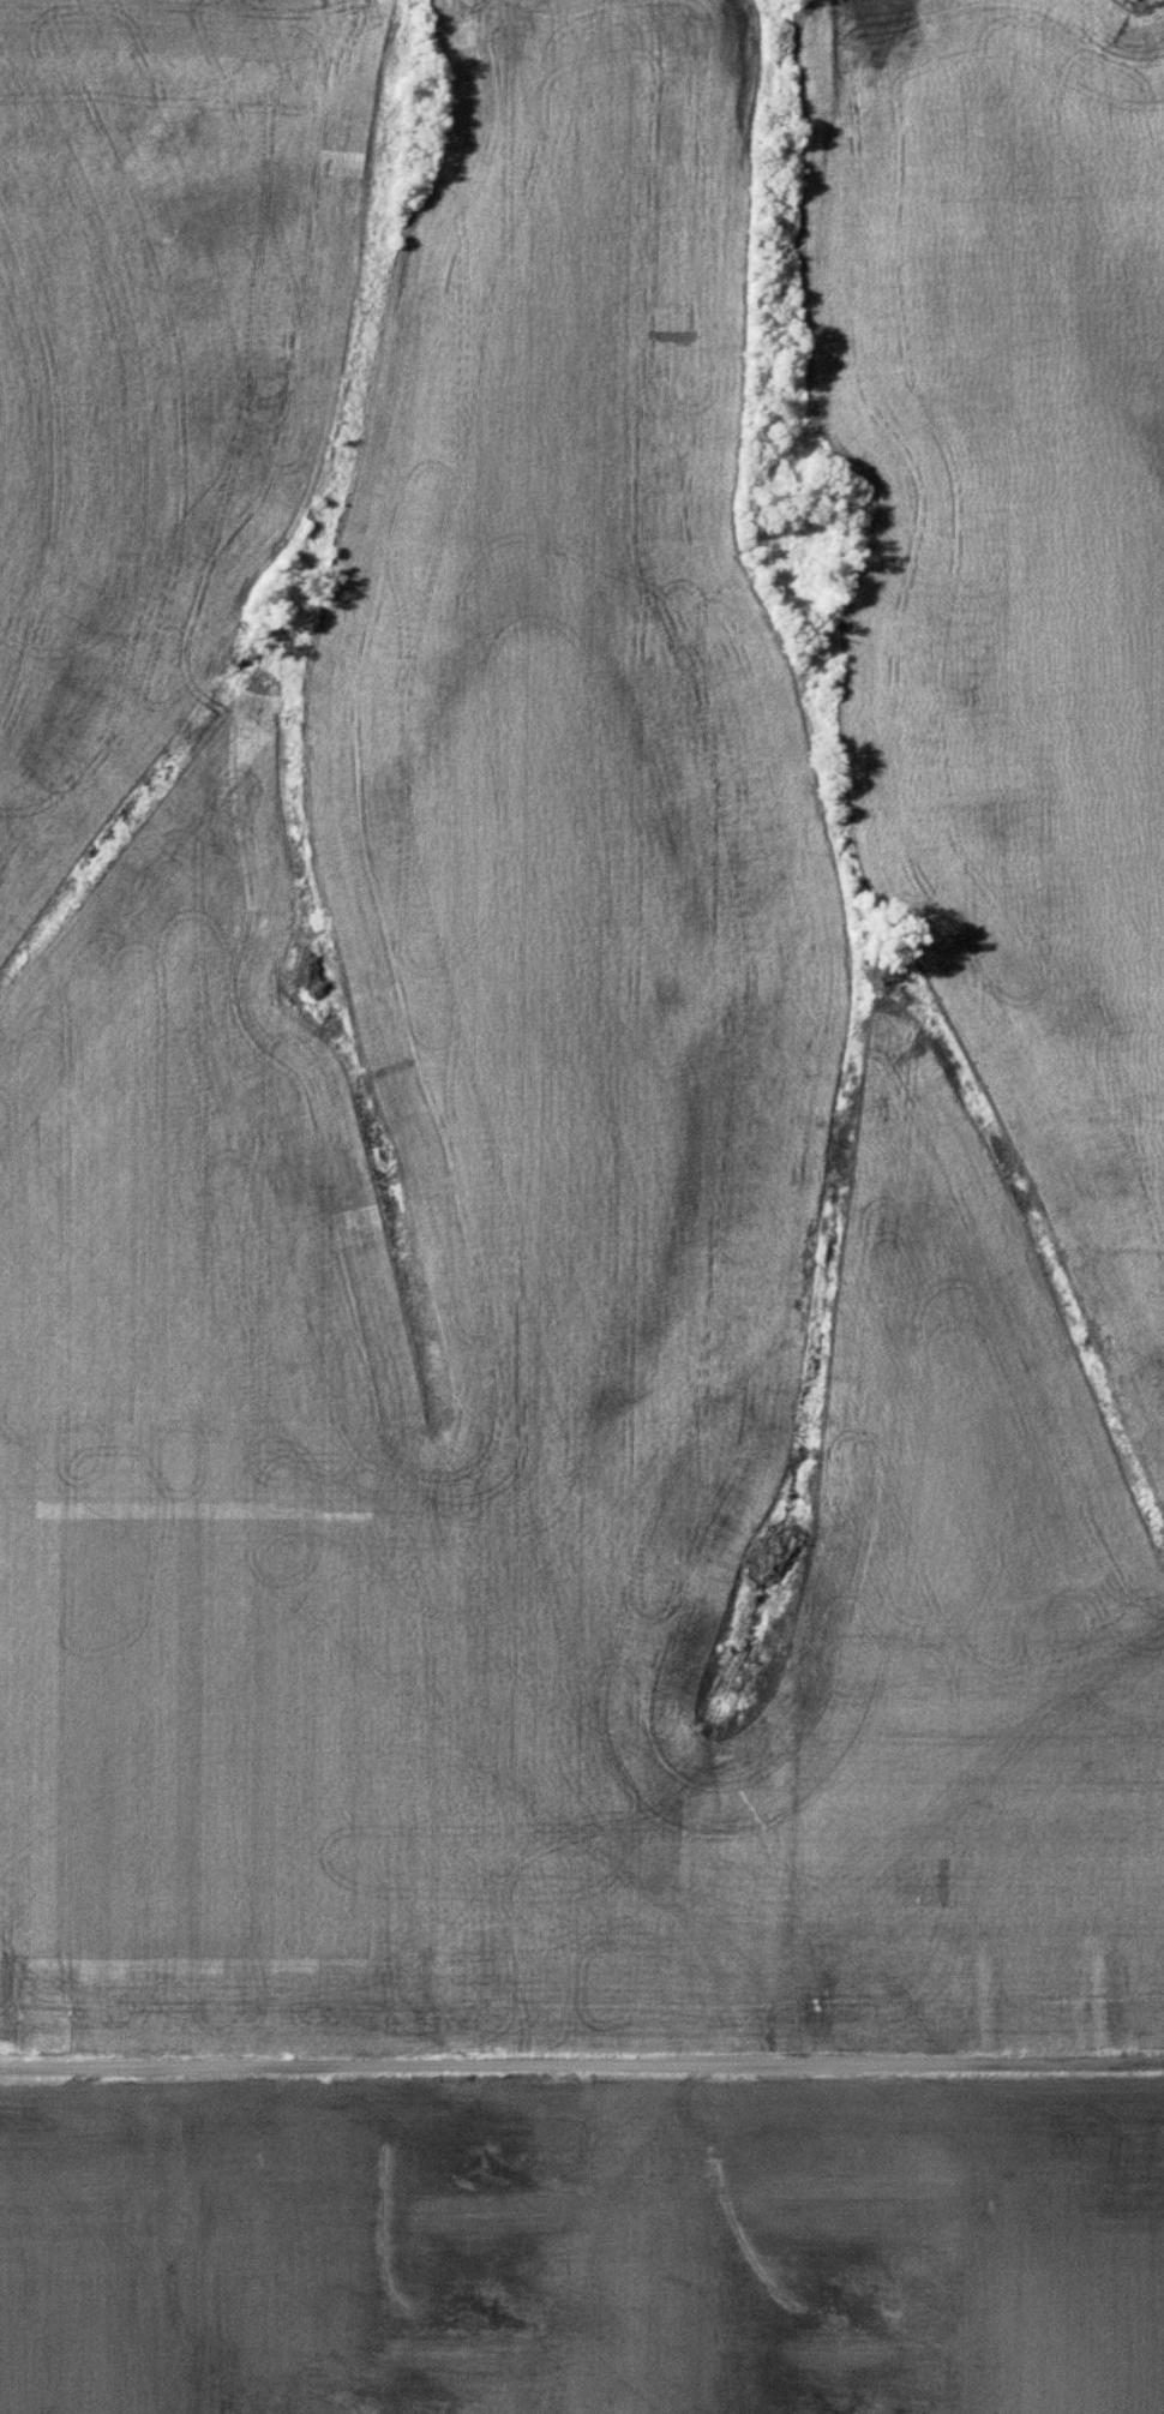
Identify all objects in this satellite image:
road: (581, 2065)

